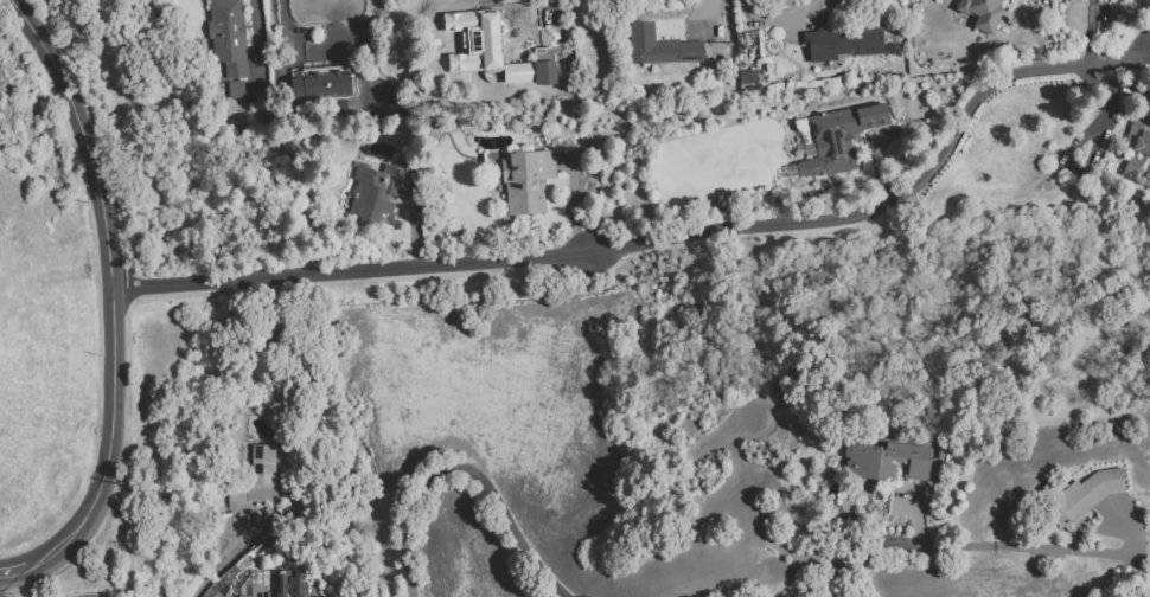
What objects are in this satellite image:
building: (980, 13)
road: (718, 18)
road: (550, 20)
road: (775, 21)
road: (1090, 32)
road: (254, 36)
building: (480, 36)
building: (225, 39)
building: (844, 43)
building: (658, 46)
road: (1119, 62)
building: (543, 65)
road: (925, 70)
building: (747, 76)
building: (319, 86)
building: (234, 88)
building: (837, 137)
building: (1136, 154)
road: (876, 161)
building: (525, 179)
building: (373, 193)
road: (630, 244)
road: (108, 284)
building: (883, 460)
road: (466, 470)
building: (256, 479)
road: (1056, 550)
road: (882, 552)
road: (232, 554)
road: (19, 570)
building: (273, 584)

